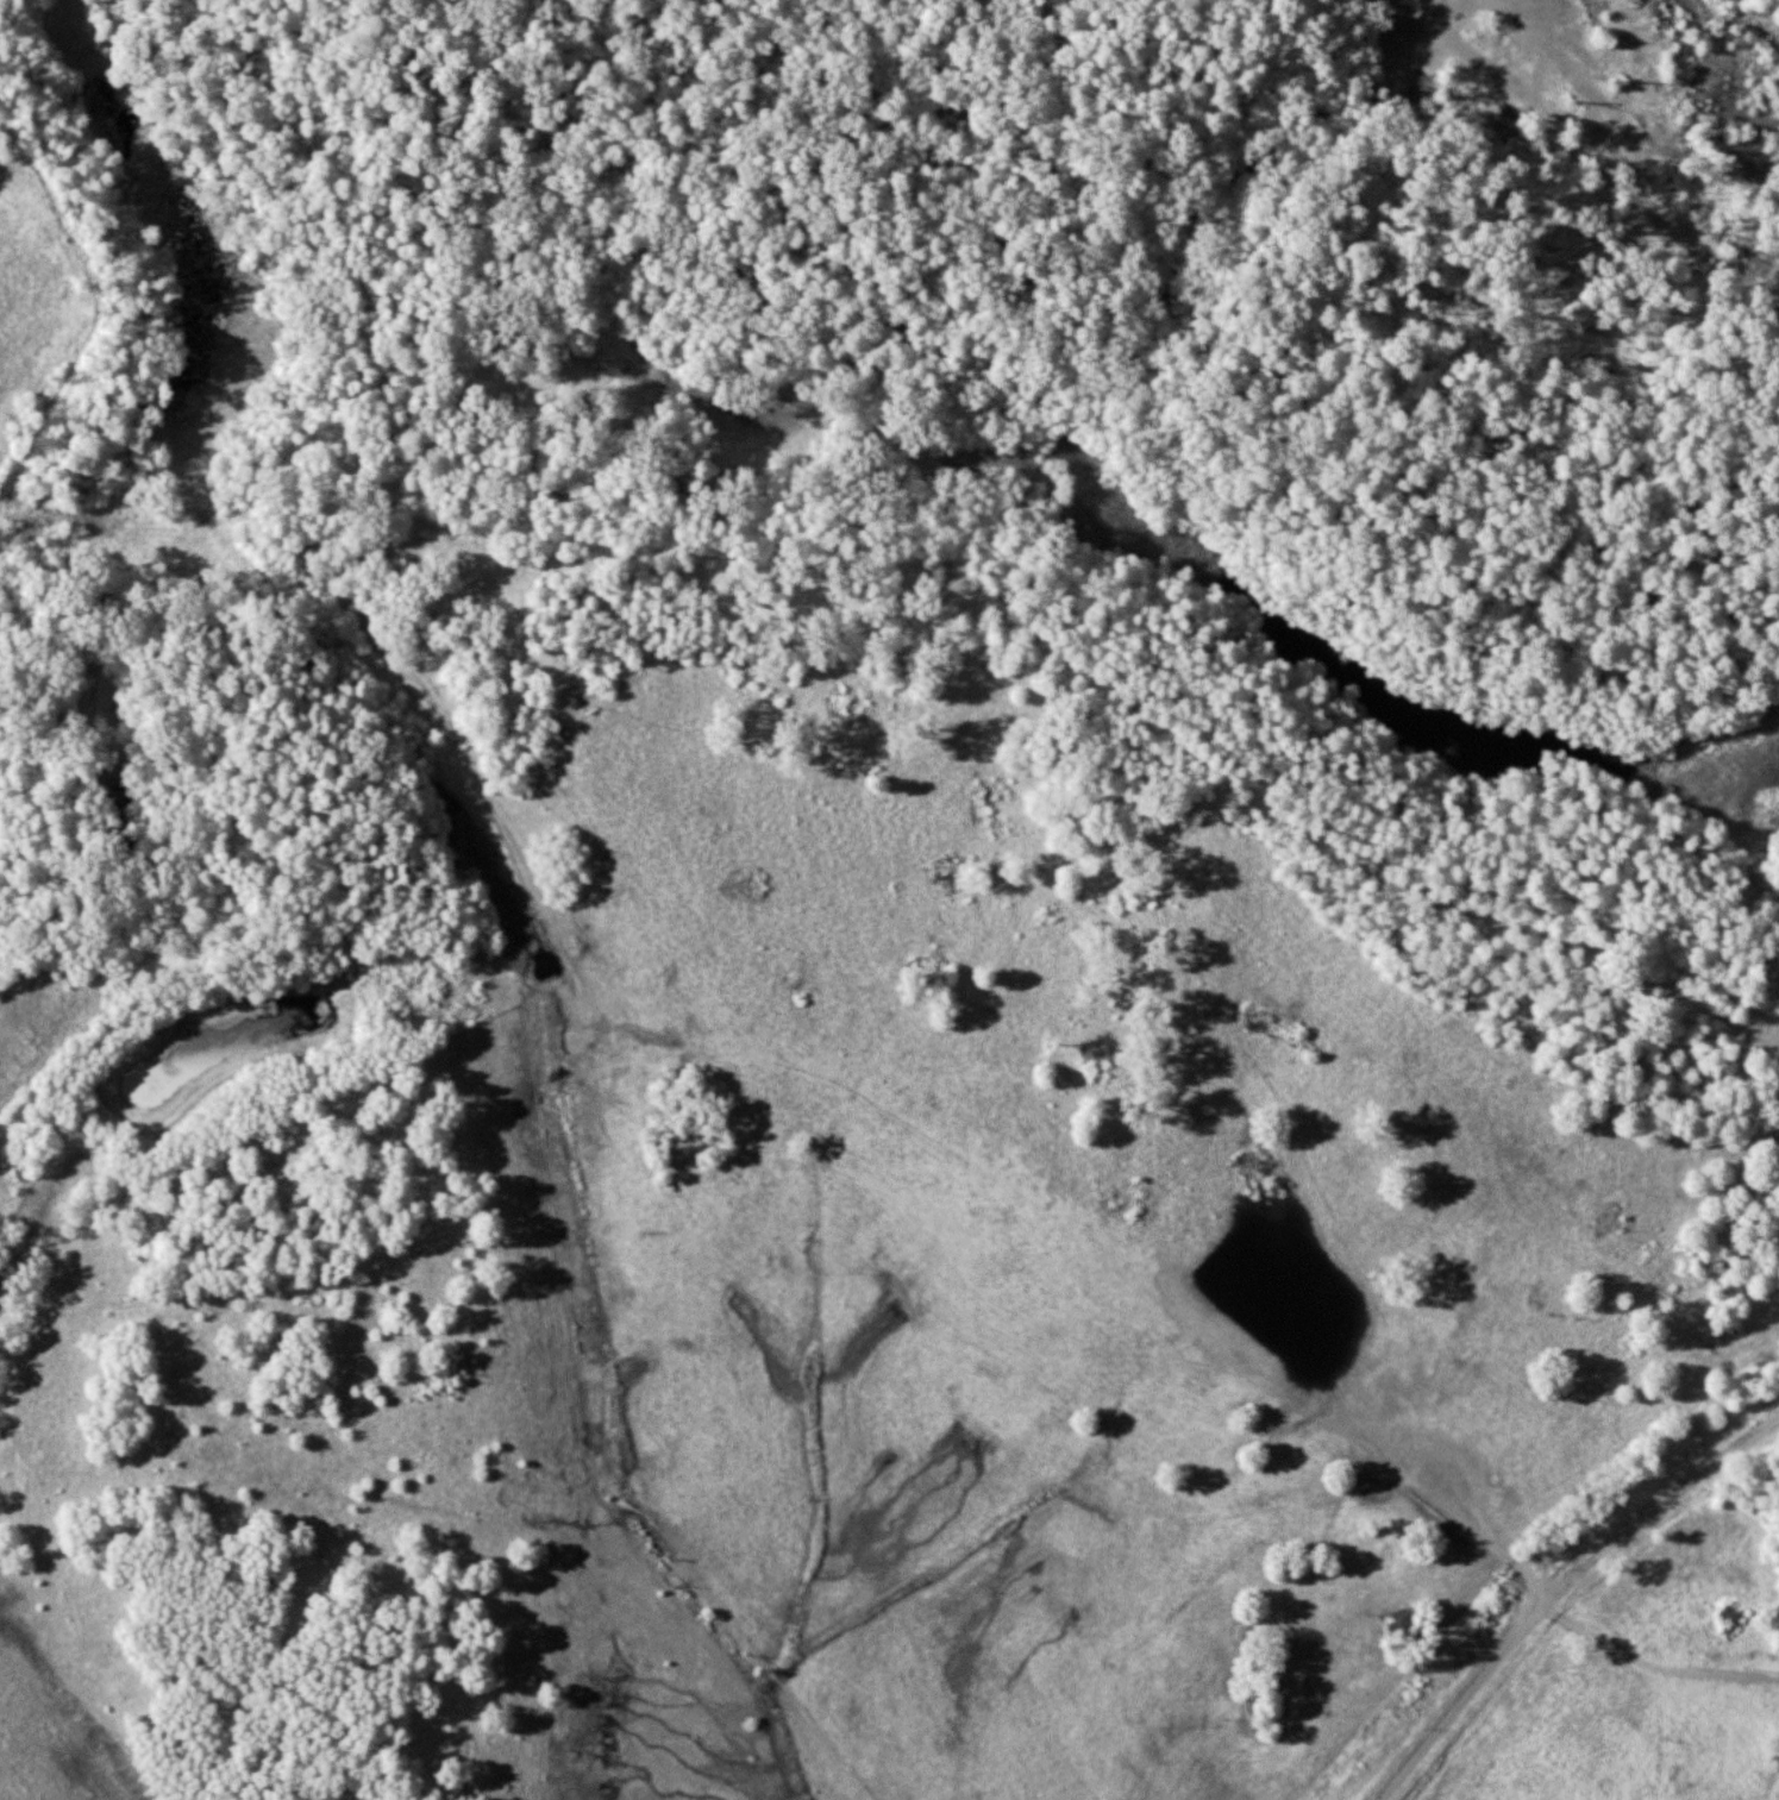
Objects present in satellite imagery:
road: (1581, 1618)

